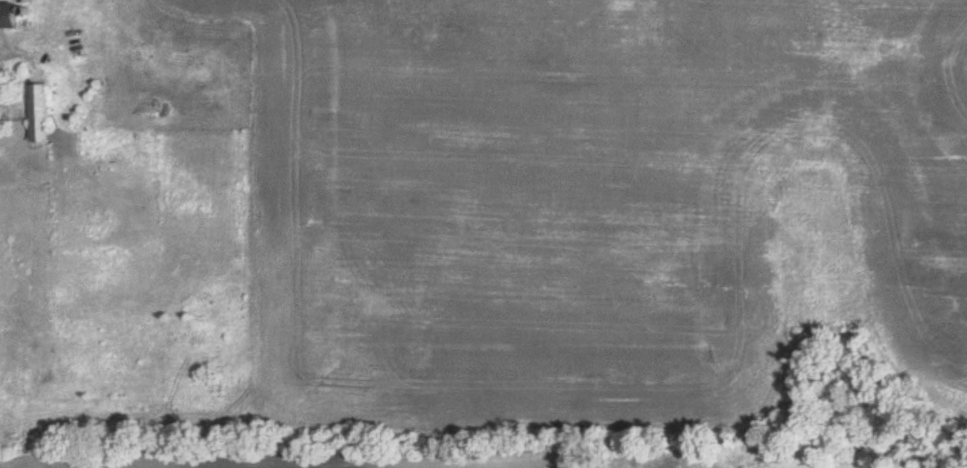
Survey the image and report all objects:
building: (12, 16)
road: (13, 56)
building: (39, 114)

